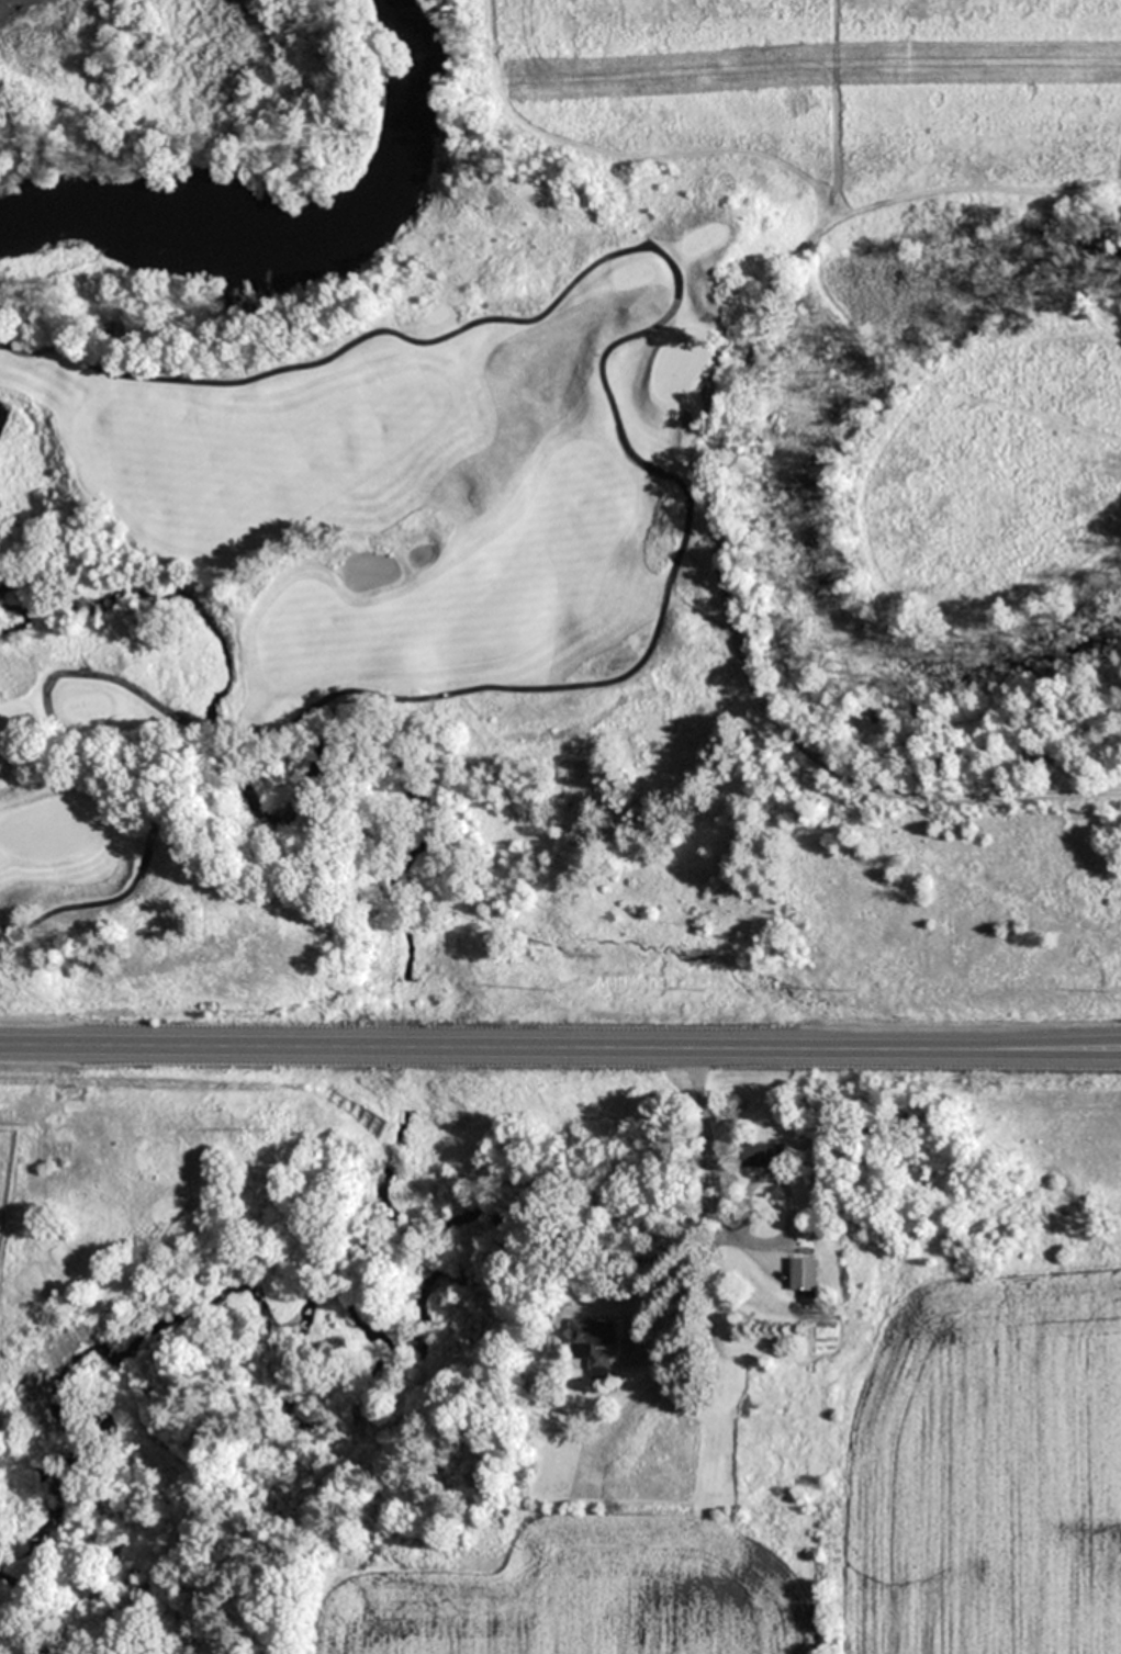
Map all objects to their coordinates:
river: (296, 227)
park: (560, 517)
road: (111, 766)
road: (1063, 1044)
road: (503, 1048)
road: (1063, 1053)
crop: (12, 1135)
building: (769, 1155)
building: (807, 1263)
building: (597, 1341)
crop: (838, 1394)

